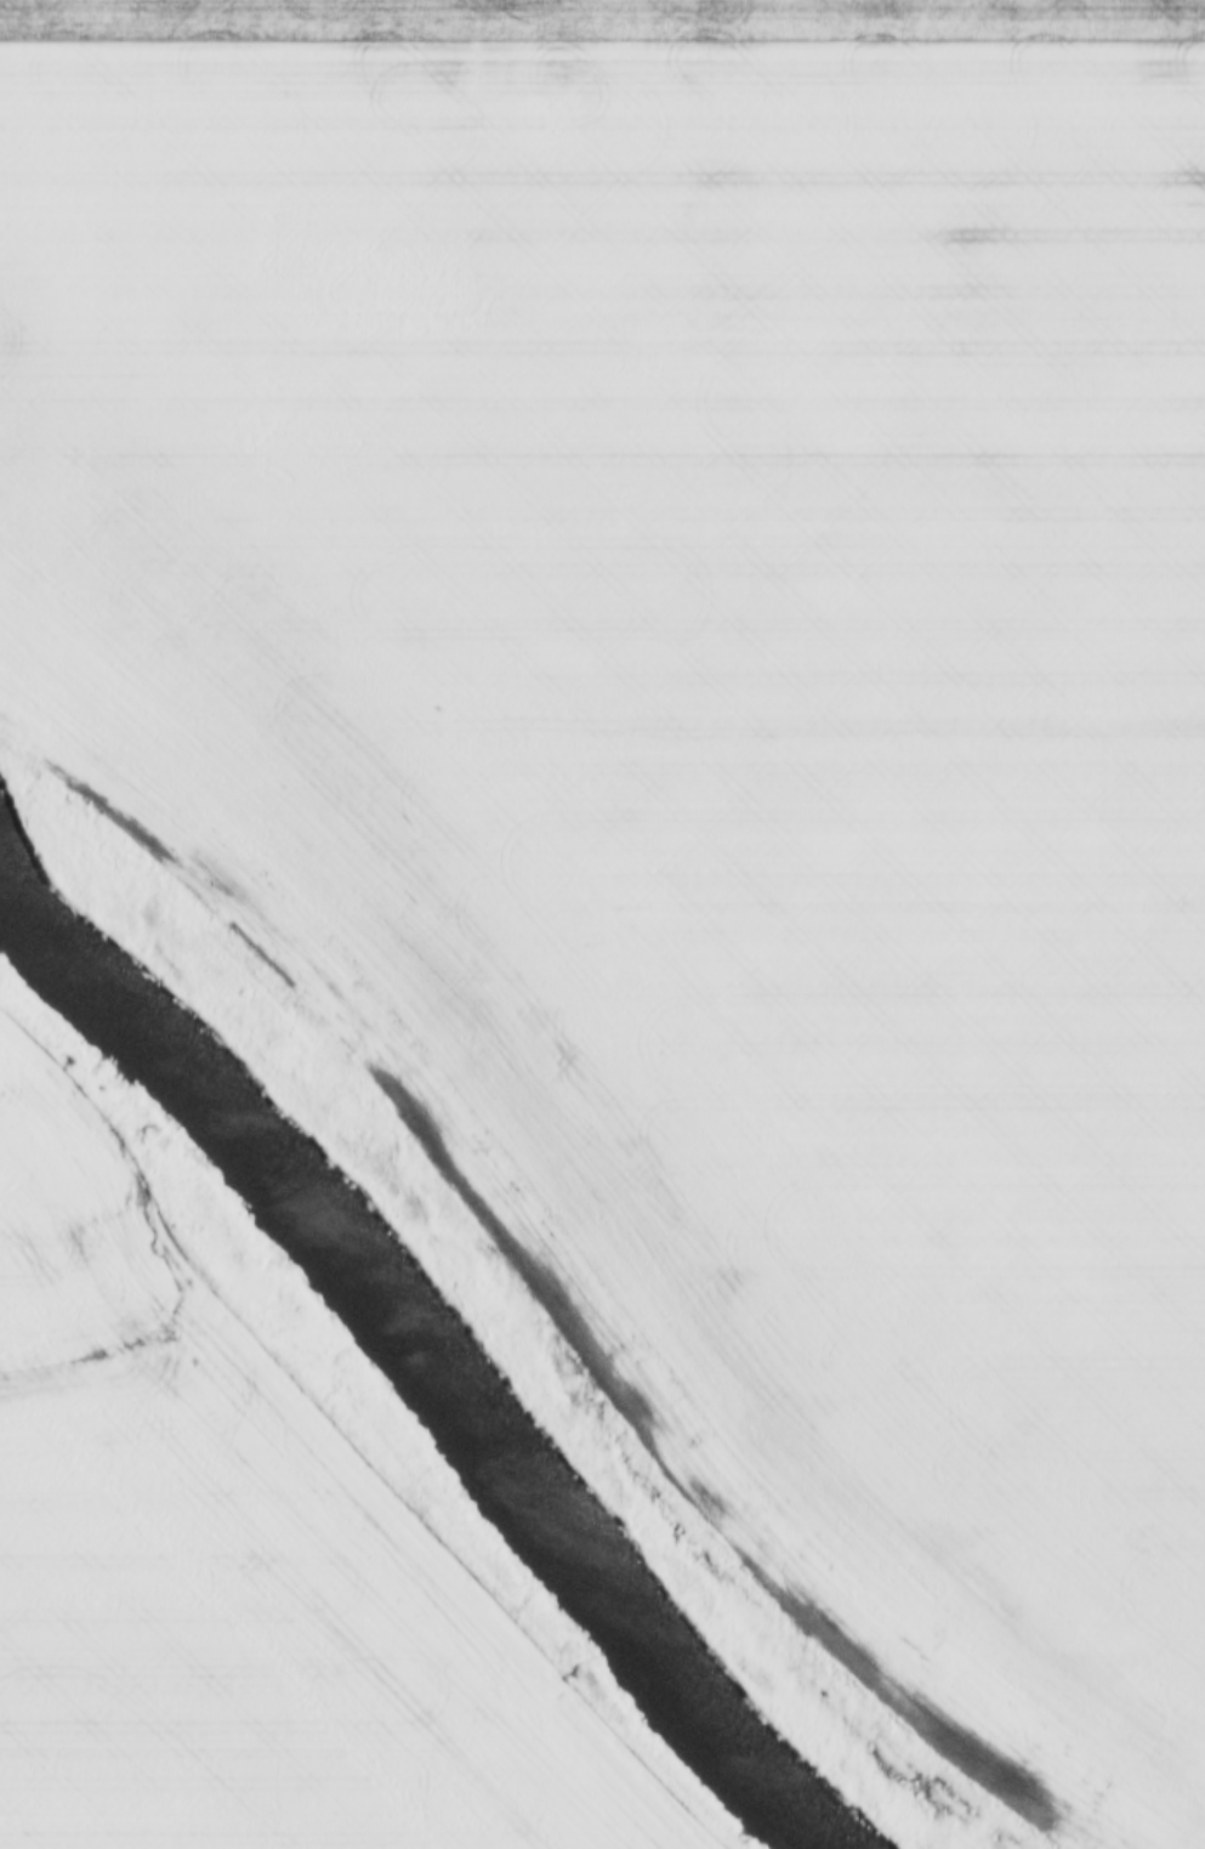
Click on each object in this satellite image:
crop: (609, 18)
crop: (703, 743)
river: (425, 1334)
crop: (232, 1569)

